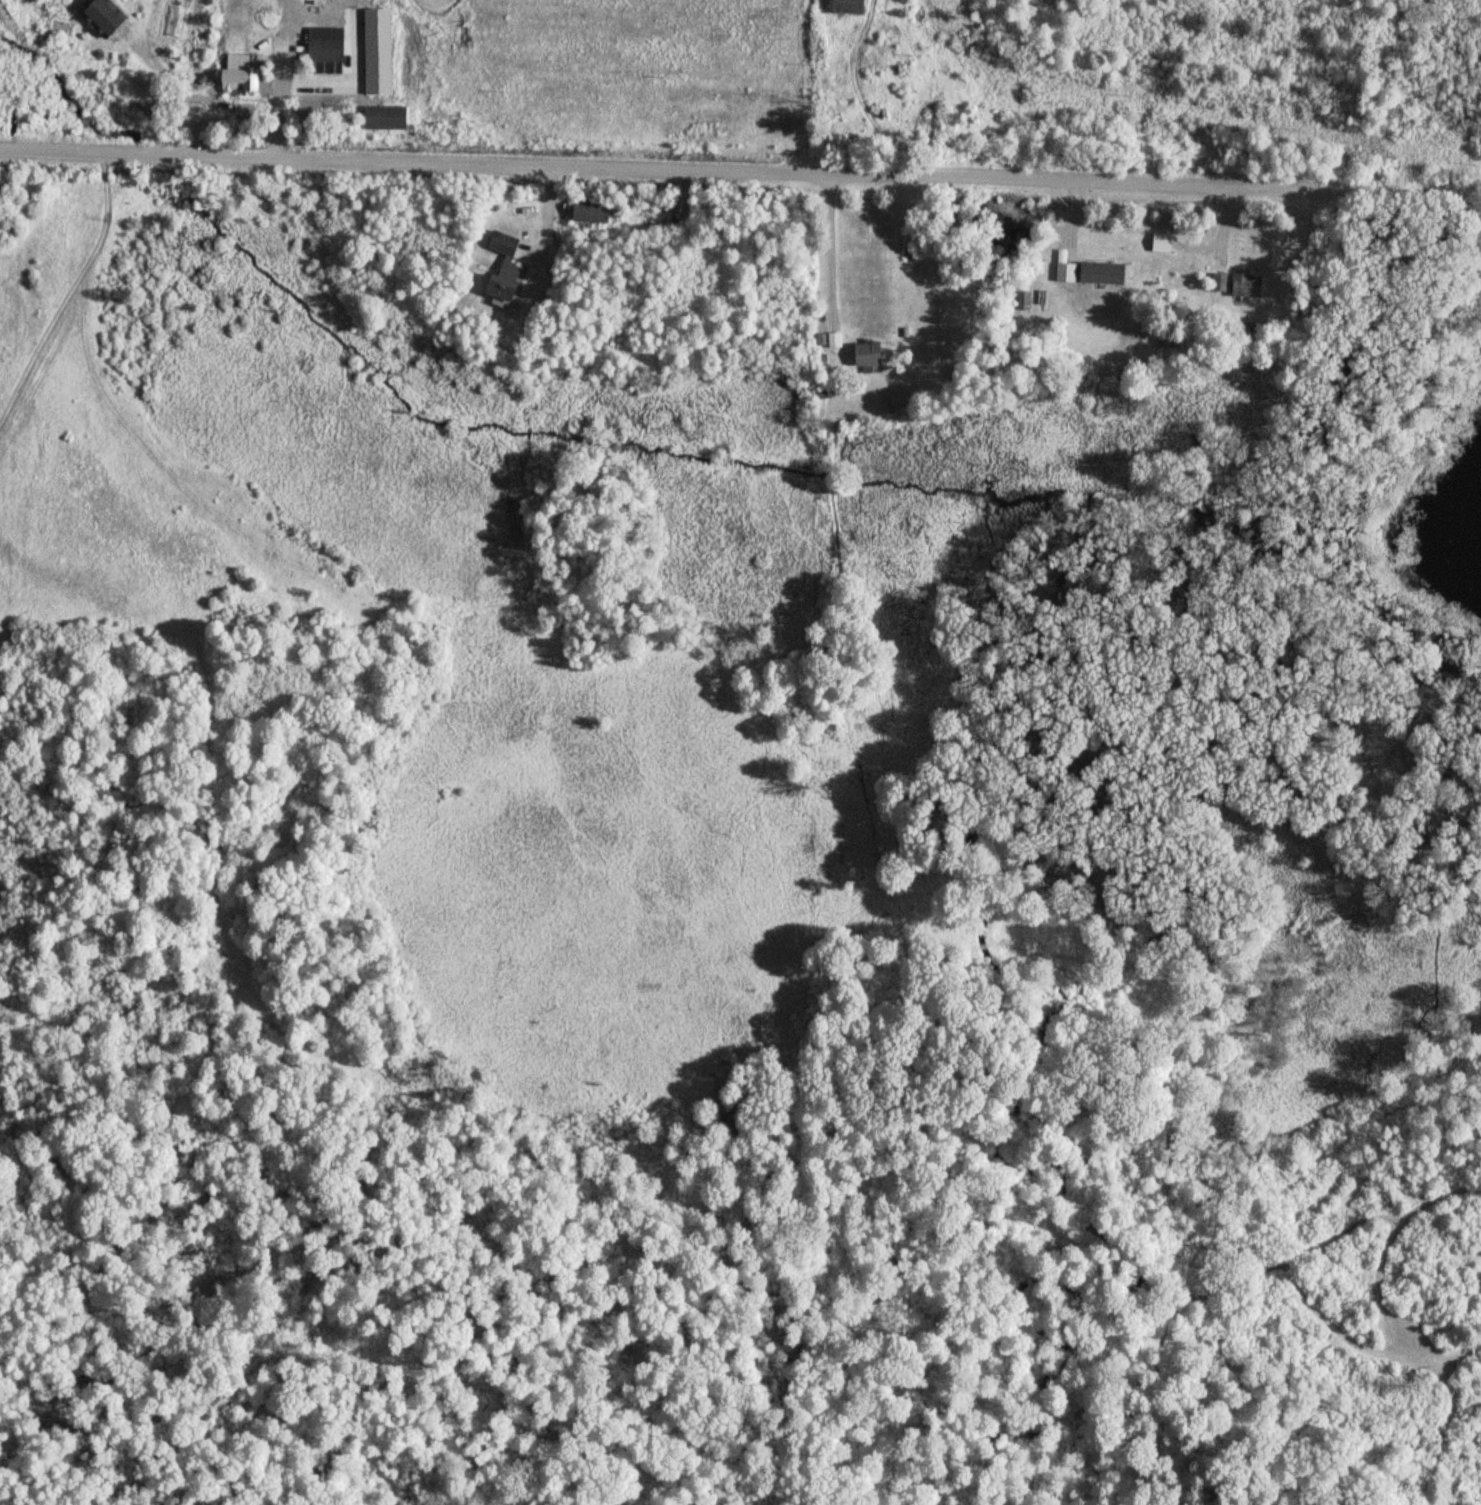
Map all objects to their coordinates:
building: (60, 2)
building: (109, 18)
building: (329, 43)
building: (245, 78)
building: (389, 117)
road: (683, 167)
building: (594, 211)
building: (508, 267)
building: (1245, 286)
building: (1024, 301)
building: (835, 339)
building: (872, 357)

